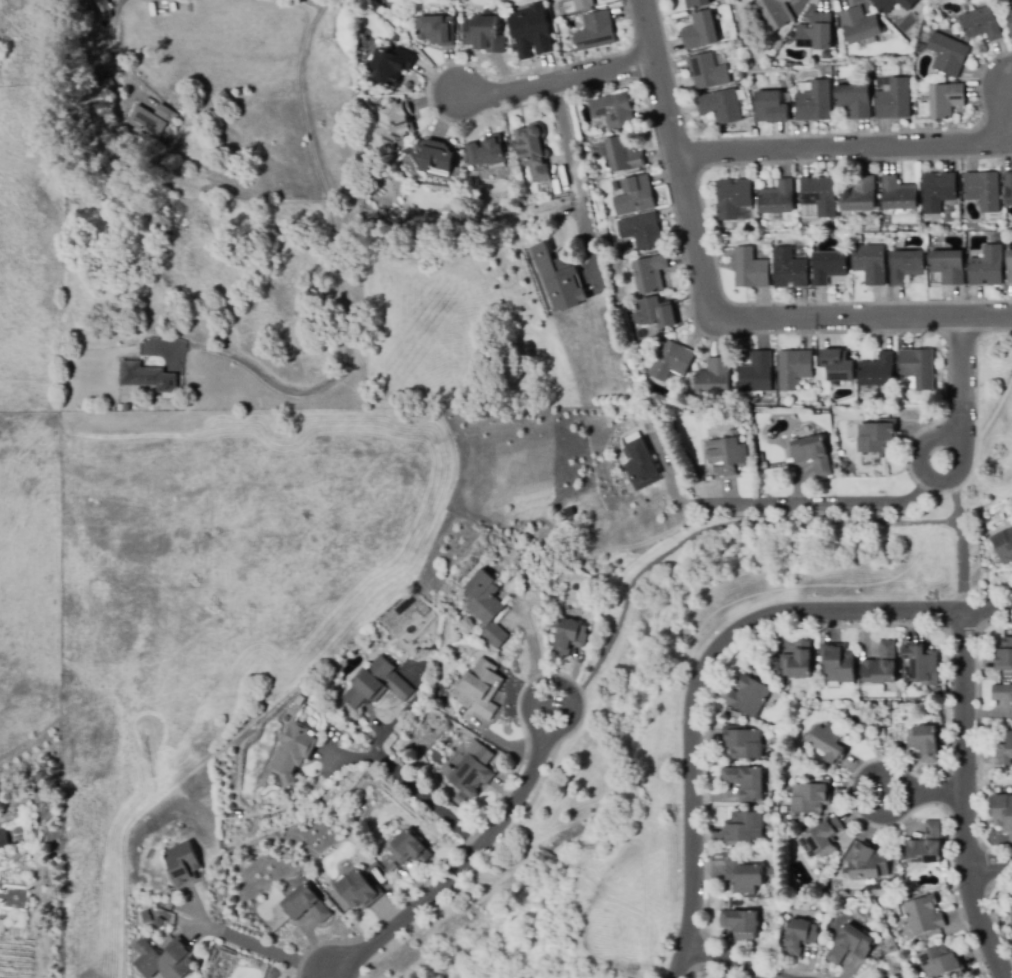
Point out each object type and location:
building: (696, 3)
road: (311, 4)
building: (582, 4)
building: (894, 4)
building: (104, 10)
building: (776, 13)
building: (1010, 21)
building: (836, 22)
building: (983, 24)
building: (860, 25)
building: (437, 30)
building: (532, 31)
building: (702, 31)
building: (596, 32)
building: (816, 33)
building: (484, 34)
building: (926, 37)
road: (113, 54)
building: (948, 55)
building: (391, 66)
building: (906, 70)
building: (708, 72)
road: (556, 81)
building: (108, 83)
building: (788, 97)
building: (855, 100)
building: (895, 100)
building: (947, 100)
building: (815, 102)
building: (721, 106)
building: (771, 108)
building: (614, 111)
building: (182, 112)
building: (152, 119)
building: (392, 126)
building: (140, 136)
road: (854, 146)
building: (486, 151)
building: (533, 151)
building: (624, 155)
building: (437, 156)
road: (678, 159)
road: (575, 184)
building: (1008, 188)
building: (984, 190)
building: (938, 191)
building: (898, 194)
building: (820, 195)
building: (860, 195)
building: (635, 196)
building: (733, 198)
building: (778, 198)
building: (642, 231)
building: (870, 263)
building: (828, 266)
building: (907, 266)
building: (949, 267)
building: (988, 267)
building: (1010, 268)
road: (349, 269)
building: (751, 269)
building: (790, 269)
building: (651, 274)
building: (558, 280)
building: (656, 314)
road: (863, 317)
building: (670, 360)
building: (839, 364)
building: (918, 367)
building: (794, 368)
building: (878, 371)
building: (757, 374)
building: (714, 376)
building: (148, 377)
road: (963, 377)
building: (120, 408)
building: (878, 436)
road: (953, 438)
building: (813, 454)
building: (732, 457)
building: (760, 457)
building: (643, 467)
building: (696, 477)
road: (672, 487)
road: (824, 501)
road: (718, 525)
road: (961, 544)
building: (1003, 546)
building: (487, 607)
building: (570, 637)
road: (531, 641)
building: (1004, 655)
road: (707, 660)
building: (797, 661)
building: (922, 662)
building: (839, 663)
building: (881, 666)
building: (377, 684)
building: (479, 689)
building: (1002, 693)
building: (749, 696)
park: (676, 721)
road: (536, 728)
building: (831, 742)
building: (743, 743)
building: (924, 743)
building: (895, 745)
building: (1006, 750)
building: (294, 753)
building: (447, 771)
building: (473, 772)
building: (746, 782)
road: (936, 790)
building: (462, 797)
building: (810, 797)
road: (962, 797)
road: (424, 798)
road: (909, 799)
building: (1003, 812)
building: (743, 828)
building: (20, 833)
building: (825, 837)
building: (2, 840)
building: (927, 845)
building: (409, 849)
building: (869, 862)
building: (183, 864)
road: (988, 865)
building: (372, 867)
building: (392, 868)
road: (456, 870)
building: (744, 874)
building: (831, 884)
building: (360, 890)
building: (306, 905)
building: (924, 915)
building: (1011, 917)
building: (146, 920)
building: (159, 921)
building: (740, 924)
building: (801, 937)
building: (851, 945)
road: (265, 951)
building: (166, 960)
road: (725, 961)
building: (941, 961)
building: (888, 977)

